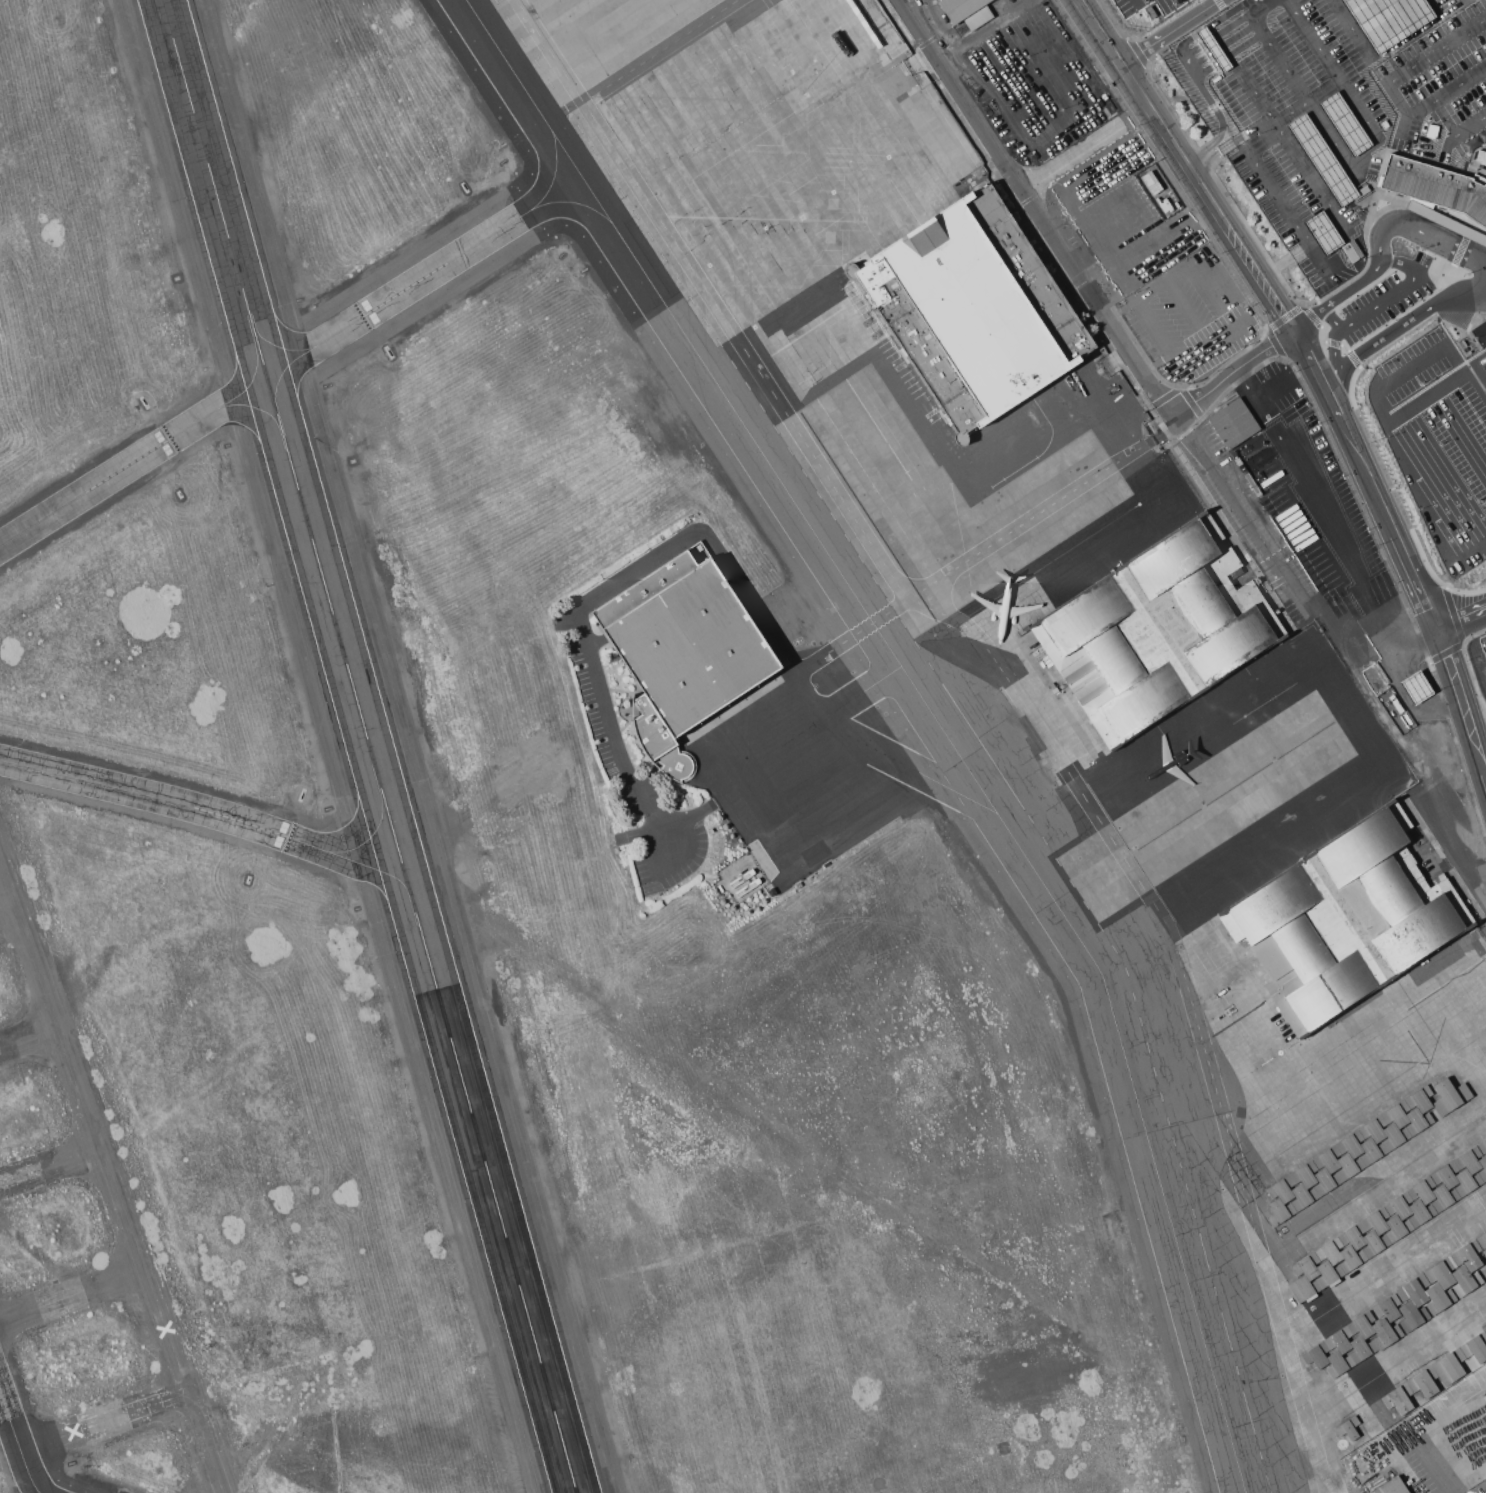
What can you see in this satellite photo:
road: (1282, 1)
building: (1266, 2)
road: (1277, 2)
road: (1338, 7)
parking lot: (1429, 9)
parking lot: (1144, 10)
building: (967, 12)
parking lot: (1388, 19)
road: (1233, 22)
road: (1388, 22)
road: (1173, 33)
road: (969, 34)
road: (1306, 37)
road: (1273, 50)
parking lot: (1301, 79)
road: (1383, 80)
road: (1231, 81)
parking lot: (1448, 82)
road: (1415, 88)
road: (1210, 96)
road: (1304, 113)
road: (1063, 128)
road: (1206, 145)
road: (1085, 147)
road: (1214, 155)
road: (1279, 156)
road: (1471, 156)
road: (1348, 163)
airport taxiway: (553, 170)
road: (1377, 175)
road: (1356, 179)
building: (1436, 187)
building: (1360, 194)
parking lot: (1296, 197)
airport taxiway: (574, 203)
road: (1036, 209)
road: (1328, 209)
road: (1293, 225)
road: (1420, 231)
road: (1482, 240)
road: (1339, 246)
building: (1314, 253)
parking lot: (1145, 261)
road: (1284, 261)
road: (1204, 266)
road: (1459, 279)
road: (1341, 295)
road: (1136, 302)
parking lot: (1394, 307)
road: (1371, 309)
airport hangar: (974, 311)
building: (974, 311)
road: (1399, 328)
parking lot: (1481, 336)
road: (1206, 344)
airport taxiway: (284, 348)
parking lot: (1216, 355)
road: (1316, 365)
road: (1234, 372)
airport taxiway: (253, 374)
airport taxiway: (266, 379)
road: (1390, 379)
airport taxiway: (278, 380)
road: (1438, 391)
road: (1255, 400)
airport taxiway: (261, 410)
building: (1233, 423)
road: (1179, 424)
parking lot: (1440, 451)
parking lot: (1319, 509)
road: (1317, 510)
road: (1425, 514)
road: (626, 576)
road: (1463, 623)
building: (1153, 636)
building: (684, 651)
road: (1329, 658)
building: (1416, 686)
airport taxiway: (932, 712)
airport apron: (1074, 724)
airport runway: (371, 746)
airport: (743, 746)
airport taxiway: (227, 817)
airport taxiway: (373, 838)
helipad: (1072, 904)
building: (1344, 923)
building: (1450, 1096)
building: (1420, 1099)
building: (1397, 1114)
building: (1417, 1121)
building: (1374, 1129)
building: (1395, 1136)
building: (1351, 1144)
building: (1482, 1147)
building: (1372, 1151)
building: (1328, 1159)
building: (1469, 1160)
building: (1483, 1164)
building: (1349, 1166)
building: (1305, 1174)
building: (1446, 1175)
building: (1326, 1181)
building: (1467, 1182)
building: (1281, 1189)
building: (1422, 1190)
building: (1303, 1196)
building: (1444, 1197)
building: (1399, 1205)
building: (1280, 1211)
building: (1420, 1213)
building: (1376, 1221)
building: (1397, 1228)
building: (1353, 1236)
building: (1482, 1240)
building: (1374, 1243)
airport hangar: (1379, 1250)
building: (1330, 1251)
building: (1467, 1255)
building: (1351, 1258)
building: (1307, 1266)
building: (1328, 1273)
building: (1441, 1273)
building: (1465, 1281)
building: (1303, 1288)
building: (1414, 1290)
building: (1439, 1298)
building: (1388, 1308)
building: (1412, 1316)
building: (1362, 1325)
building: (1485, 1330)
building: (1385, 1333)
building: (1339, 1340)
building: (1475, 1347)
building: (1361, 1349)
building: (1316, 1355)
building: (1338, 1364)
building: (1447, 1367)
building: (1422, 1384)
building: (1398, 1399)
building: (1348, 1429)
airport taxiway: (18, 1439)
building: (1391, 1487)
helipad: (1040, 1490)

